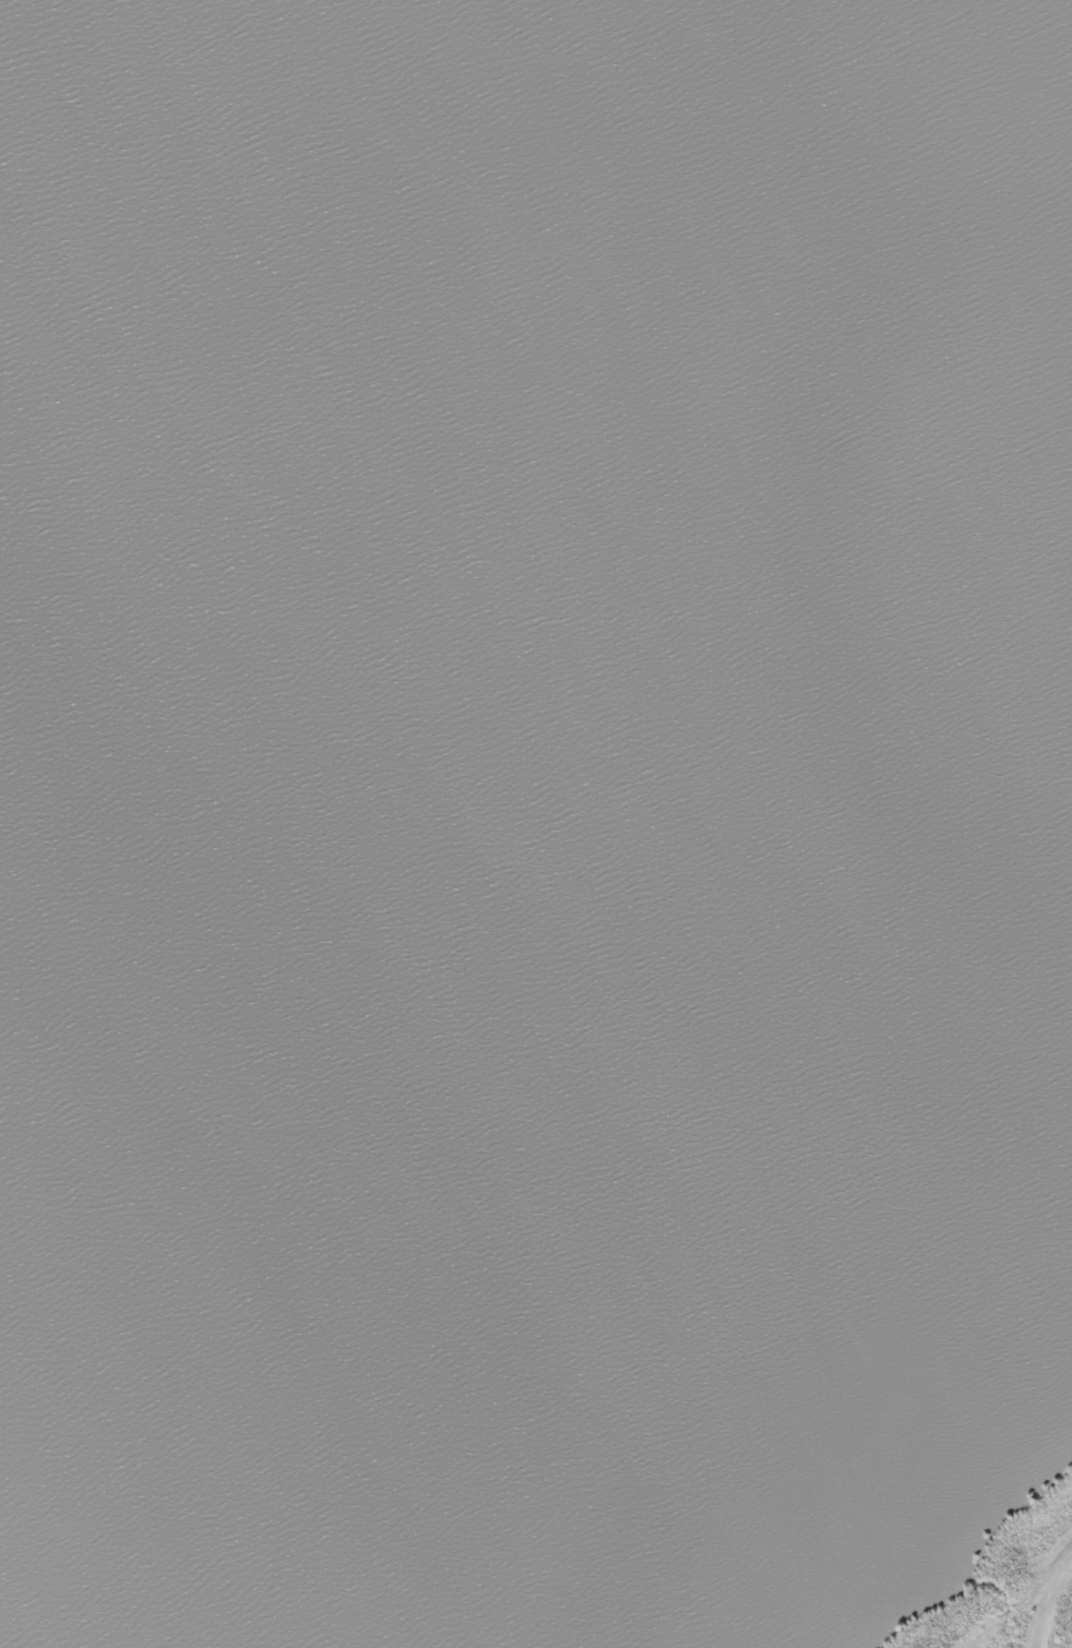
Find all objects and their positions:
road: (1011, 1598)

